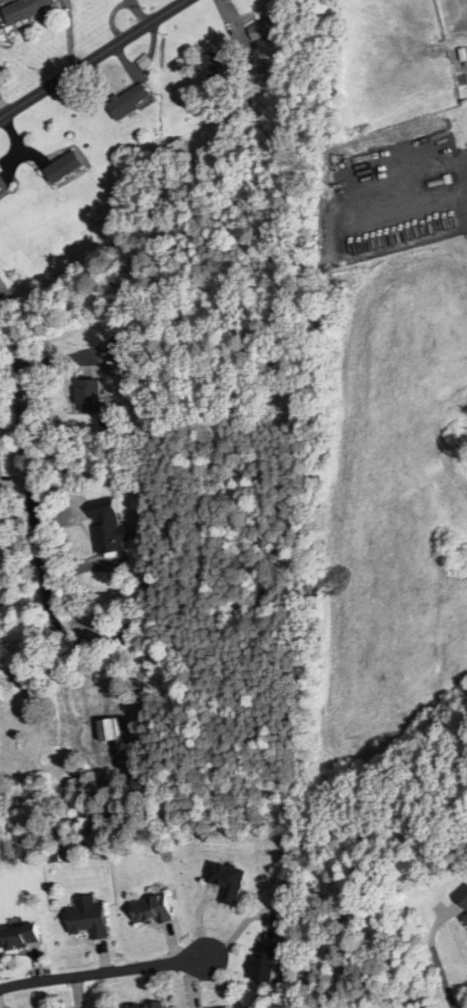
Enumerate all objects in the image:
building: (25, 9)
building: (258, 30)
building: (457, 55)
road: (94, 59)
building: (212, 66)
building: (129, 101)
building: (63, 167)
building: (0, 170)
building: (0, 187)
building: (88, 395)
road: (24, 453)
building: (107, 527)
building: (108, 730)
building: (225, 880)
building: (151, 910)
building: (87, 917)
building: (464, 919)
building: (21, 936)
building: (264, 963)
road: (437, 964)
road: (113, 971)
building: (145, 1005)
building: (231, 1007)

